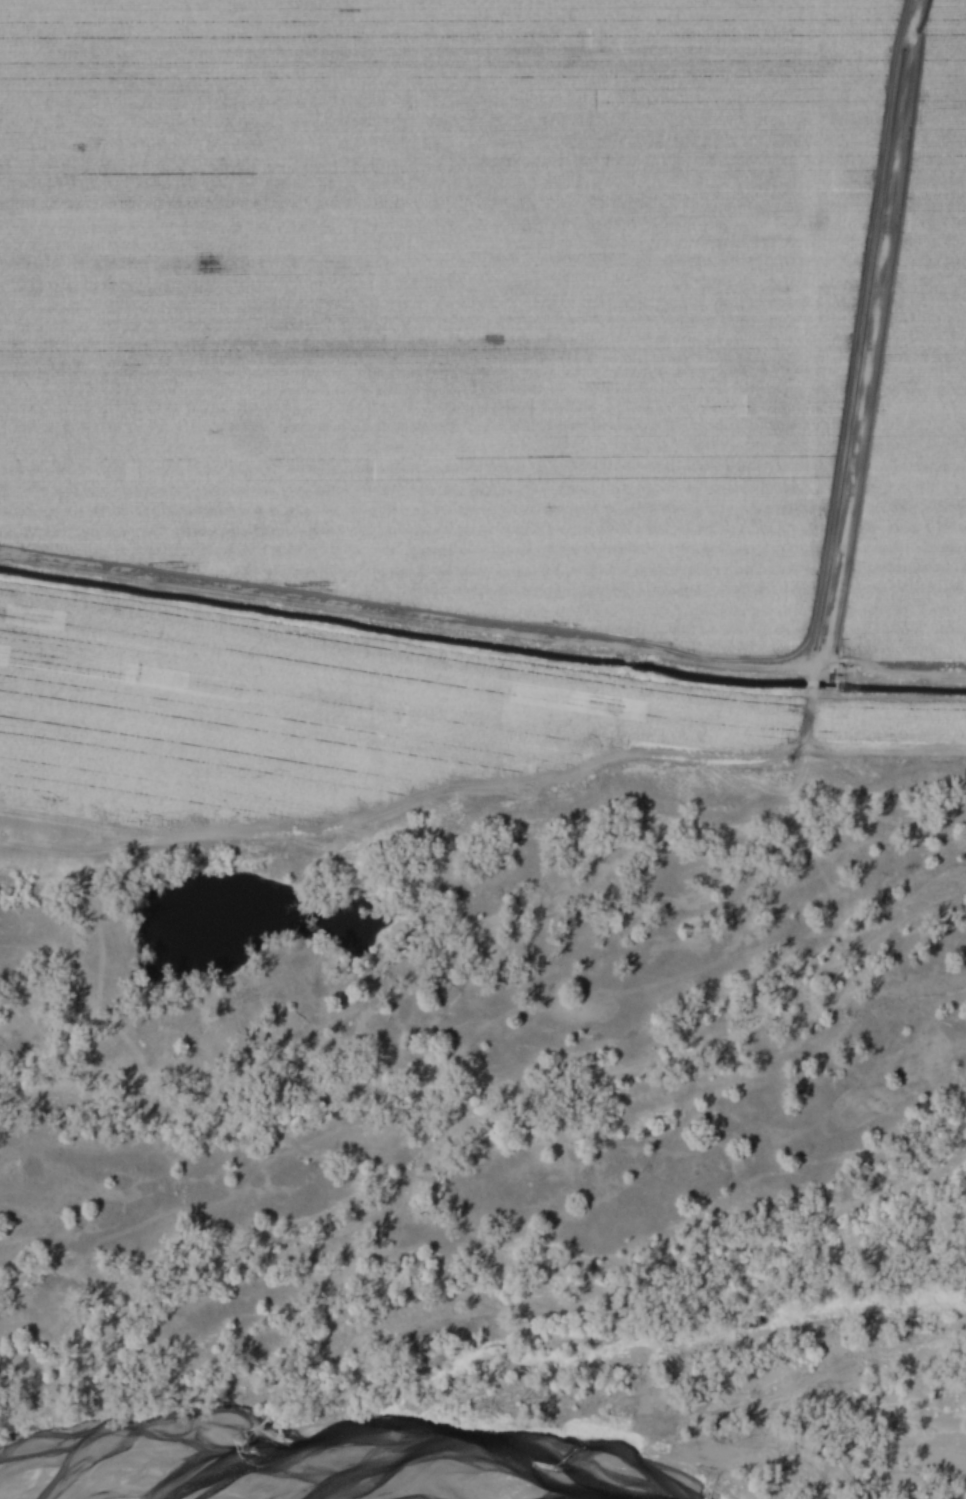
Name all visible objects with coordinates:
river: (321, 1466)

